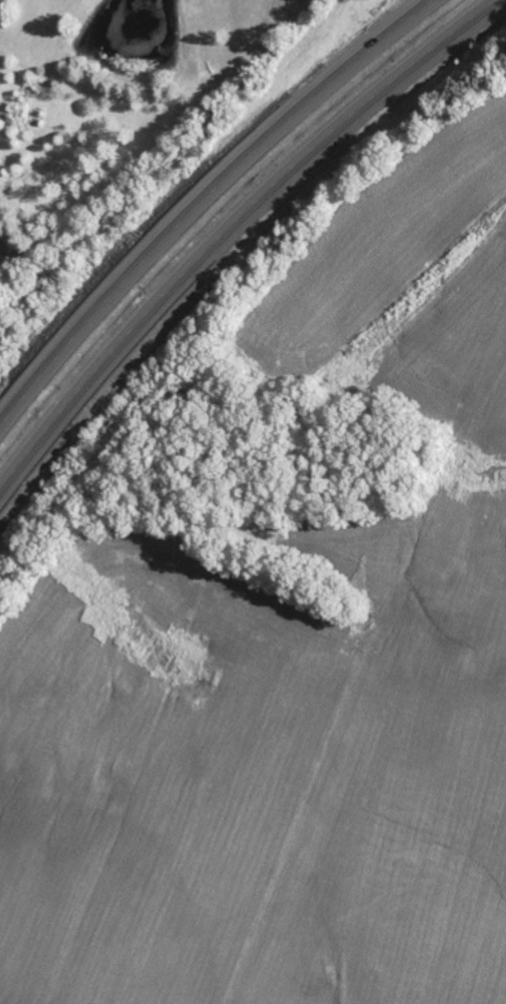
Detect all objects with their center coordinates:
road: (199, 197)
road: (232, 230)

